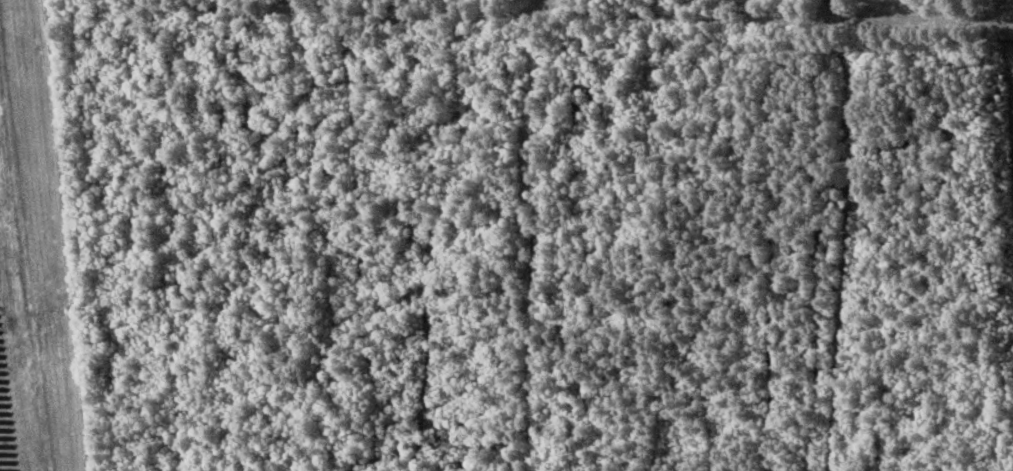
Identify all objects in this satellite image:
solar farm: (18, 317)

